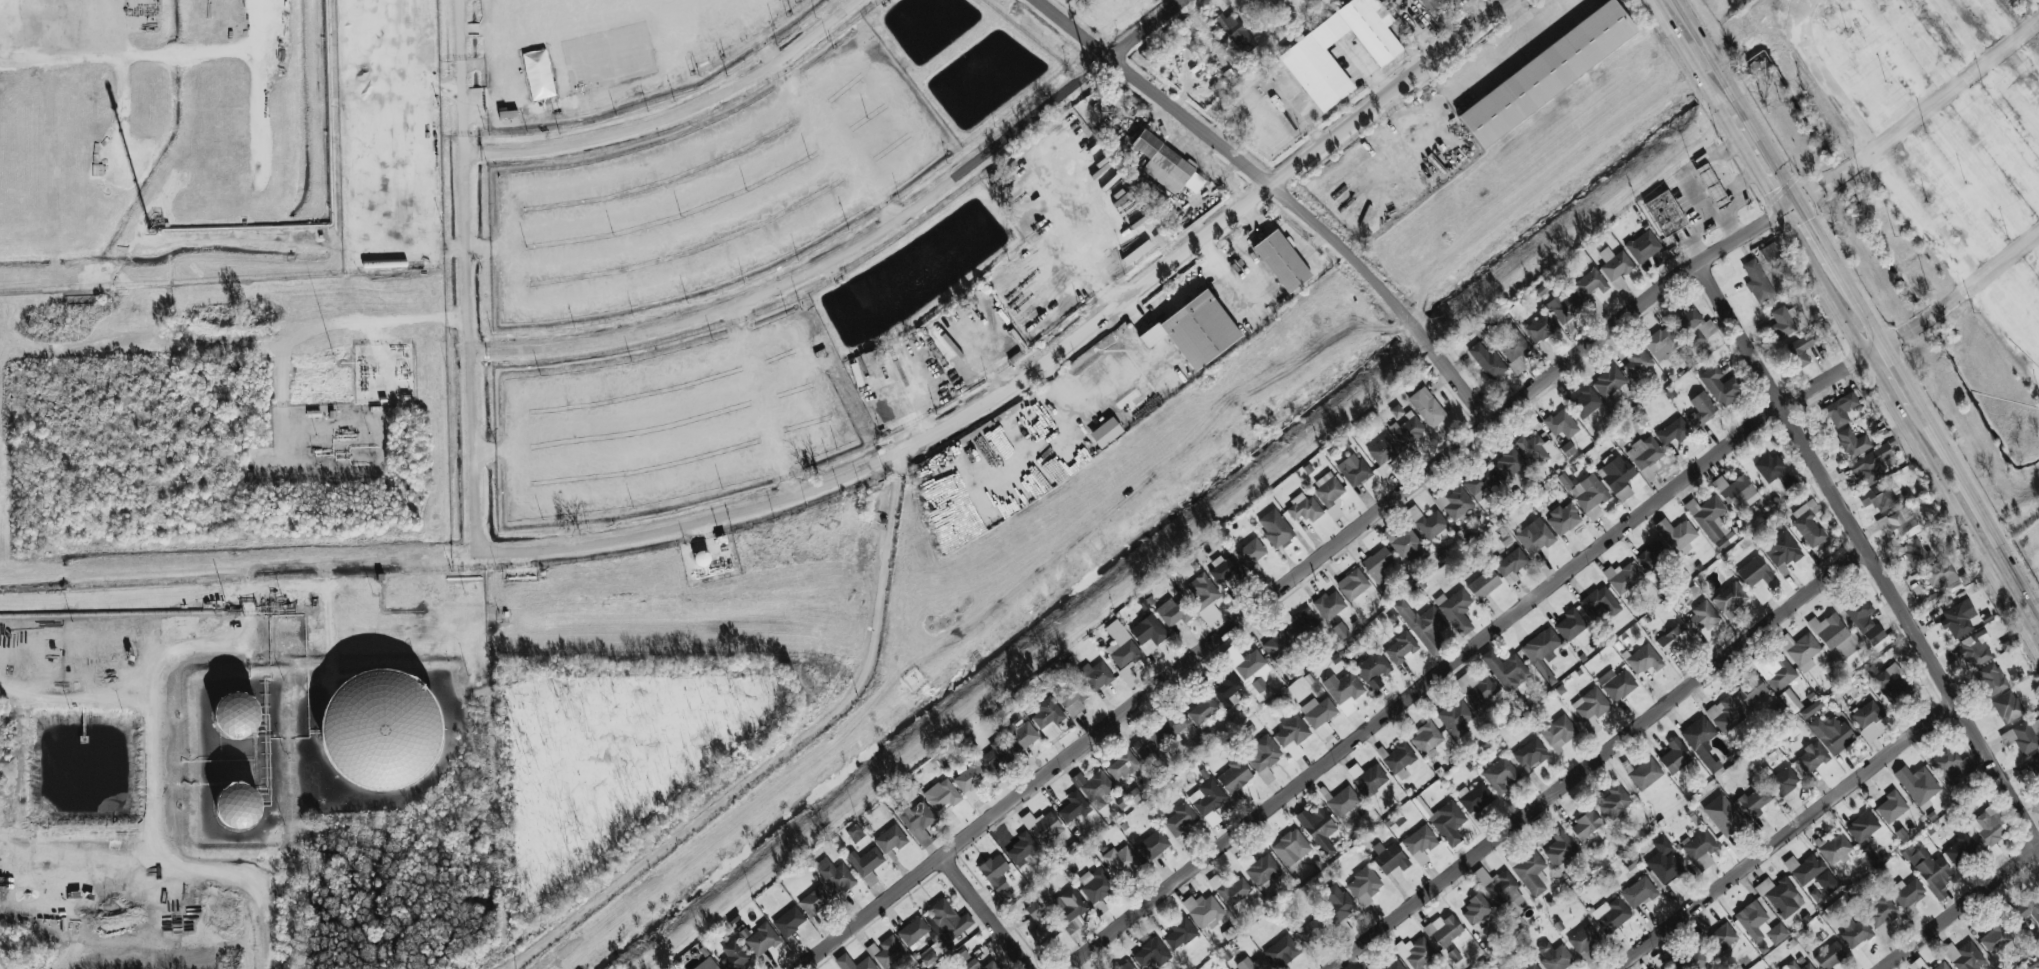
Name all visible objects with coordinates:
building: (1384, 1)
building: (1430, 4)
road: (1556, 16)
road: (2031, 29)
building: (1235, 32)
road: (1449, 48)
building: (609, 56)
building: (1308, 60)
road: (1484, 68)
building: (1546, 73)
building: (538, 74)
road: (1369, 76)
road: (786, 77)
road: (1825, 77)
building: (1112, 93)
road: (1395, 107)
road: (1932, 113)
road: (677, 114)
road: (832, 138)
road: (925, 139)
building: (1166, 164)
road: (709, 183)
building: (1708, 183)
road: (1283, 192)
road: (884, 203)
road: (1796, 204)
road: (1775, 207)
building: (1664, 213)
road: (722, 218)
road: (377, 225)
building: (1160, 238)
road: (2033, 240)
road: (861, 244)
building: (1643, 246)
road: (2021, 249)
road: (1206, 251)
building: (1769, 252)
building: (1281, 261)
building: (1615, 266)
road: (1087, 268)
road: (1198, 271)
road: (469, 277)
building: (1757, 281)
building: (1589, 283)
building: (1564, 306)
road: (353, 322)
building: (1782, 322)
building: (1693, 326)
building: (1540, 327)
building: (1195, 330)
building: (1661, 343)
building: (1513, 348)
building: (1801, 348)
building: (871, 360)
building: (1487, 361)
building: (1637, 362)
road: (1099, 375)
building: (1609, 381)
building: (1718, 385)
building: (1585, 402)
building: (1426, 407)
building: (1839, 409)
building: (1700, 410)
road: (973, 411)
building: (1396, 411)
building: (1561, 424)
building: (1673, 431)
building: (1105, 432)
building: (1407, 432)
building: (1852, 442)
building: (1536, 449)
building: (1382, 451)
building: (1644, 452)
building: (1874, 462)
building: (1507, 464)
building: (1353, 469)
building: (1775, 472)
building: (1617, 476)
building: (1481, 485)
building: (1328, 488)
building: (1737, 492)
building: (1587, 495)
building: (1881, 495)
building: (1455, 503)
road: (1979, 509)
building: (1564, 517)
building: (1711, 521)
building: (1807, 523)
building: (1899, 523)
building: (1428, 524)
building: (1275, 527)
road: (1969, 533)
building: (1676, 534)
building: (1535, 536)
building: (1407, 546)
building: (1782, 550)
building: (1251, 552)
road: (1869, 553)
building: (1916, 555)
building: (1651, 556)
building: (1377, 564)
building: (1511, 564)
building: (1225, 569)
building: (1754, 572)
building: (1622, 577)
road: (1293, 579)
building: (1352, 584)
building: (1483, 584)
building: (1935, 596)
building: (1204, 597)
building: (1729, 598)
building: (1600, 601)
building: (1329, 604)
building: (1456, 610)
building: (1173, 611)
building: (1702, 617)
building: (1958, 618)
building: (1863, 619)
building: (1298, 623)
building: (1570, 625)
building: (1424, 627)
building: (1340, 630)
building: (1148, 633)
road: (246, 635)
building: (1834, 635)
building: (1673, 640)
building: (1277, 644)
building: (1400, 648)
building: (1974, 648)
building: (1800, 650)
building: (1542, 651)
road: (1471, 652)
building: (1125, 654)
building: (1644, 659)
road: (161, 663)
building: (1372, 667)
building: (1506, 669)
building: (1251, 671)
building: (1776, 671)
building: (1095, 675)
building: (1991, 678)
building: (1891, 682)
building: (1616, 684)
building: (1227, 689)
building: (1750, 690)
building: (1344, 691)
building: (1478, 691)
building: (1071, 697)
building: (1790, 700)
road: (79, 702)
building: (2007, 706)
building: (1591, 707)
building: (1202, 710)
building: (236, 712)
storage tank: (236, 712)
building: (1048, 713)
building: (1725, 714)
building: (1866, 714)
building: (1319, 715)
building: (1455, 717)
building: (1173, 724)
building: (380, 730)
storage tank: (380, 730)
building: (1558, 731)
building: (1831, 733)
building: (1018, 735)
building: (1292, 735)
building: (1426, 738)
building: (1702, 743)
building: (1148, 745)
road: (786, 750)
building: (1530, 754)
building: (1675, 756)
building: (995, 757)
building: (1263, 757)
building: (1812, 757)
building: (1398, 759)
road: (1601, 759)
building: (2036, 760)
building: (1122, 765)
building: (1951, 766)
road: (31, 768)
building: (1645, 773)
building: (1500, 775)
building: (1234, 776)
building: (969, 777)
building: (1367, 778)
building: (1784, 780)
building: (1918, 786)
building: (1094, 788)
building: (942, 794)
building: (1134, 795)
building: (1473, 797)
building: (1208, 801)
building: (1342, 801)
building: (1754, 801)
building: (1614, 802)
building: (237, 805)
storage tank: (237, 805)
building: (1891, 806)
building: (1074, 807)
building: (1723, 815)
building: (1179, 819)
building: (916, 820)
building: (1448, 822)
building: (1585, 824)
building: (1990, 824)
building: (1042, 826)
building: (1862, 826)
building: (1318, 828)
building: (854, 833)
road: (1788, 835)
road: (132, 836)
building: (891, 839)
building: (1420, 843)
building: (1153, 844)
building: (1290, 847)
building: (1022, 849)
building: (1700, 849)
building: (1959, 849)
building: (1835, 850)
building: (1561, 851)
building: (1389, 858)
building: (865, 861)
building: (1121, 861)
building: (1664, 862)
building: (1804, 868)
building: (1928, 869)
building: (1262, 870)
building: (994, 872)
building: (1531, 872)
road: (234, 874)
building: (835, 875)
building: (1826, 882)
building: (1096, 884)
building: (1363, 886)
building: (1230, 889)
building: (1501, 891)
building: (1639, 892)
building: (1907, 893)
building: (1780, 896)
building: (815, 901)
building: (1336, 905)
building: (1069, 906)
building: (1475, 909)
road: (1963, 909)
building: (1203, 910)
building: (1880, 913)
road: (986, 914)
building: (1614, 915)
building: (948, 919)
building: (789, 921)
building: (1759, 924)
building: (1040, 925)
building: (1343, 929)
building: (1311, 930)
building: (1443, 930)
building: (913, 932)
building: (1180, 932)
building: (1854, 933)
building: (1722, 937)
building: (761, 939)
building: (1583, 939)
building: (1995, 939)
building: (888, 951)
building: (1281, 951)
building: (1152, 952)
building: (1419, 954)
building: (733, 955)
building: (1829, 955)
building: (1964, 955)
building: (1554, 956)
building: (929, 958)
building: (1691, 960)
building: (844, 962)
building: (1252, 963)
building: (706, 964)
building: (1392, 964)
building: (979, 965)
building: (1126, 965)
building: (1797, 965)
building: (1532, 966)
building: (1943, 966)

